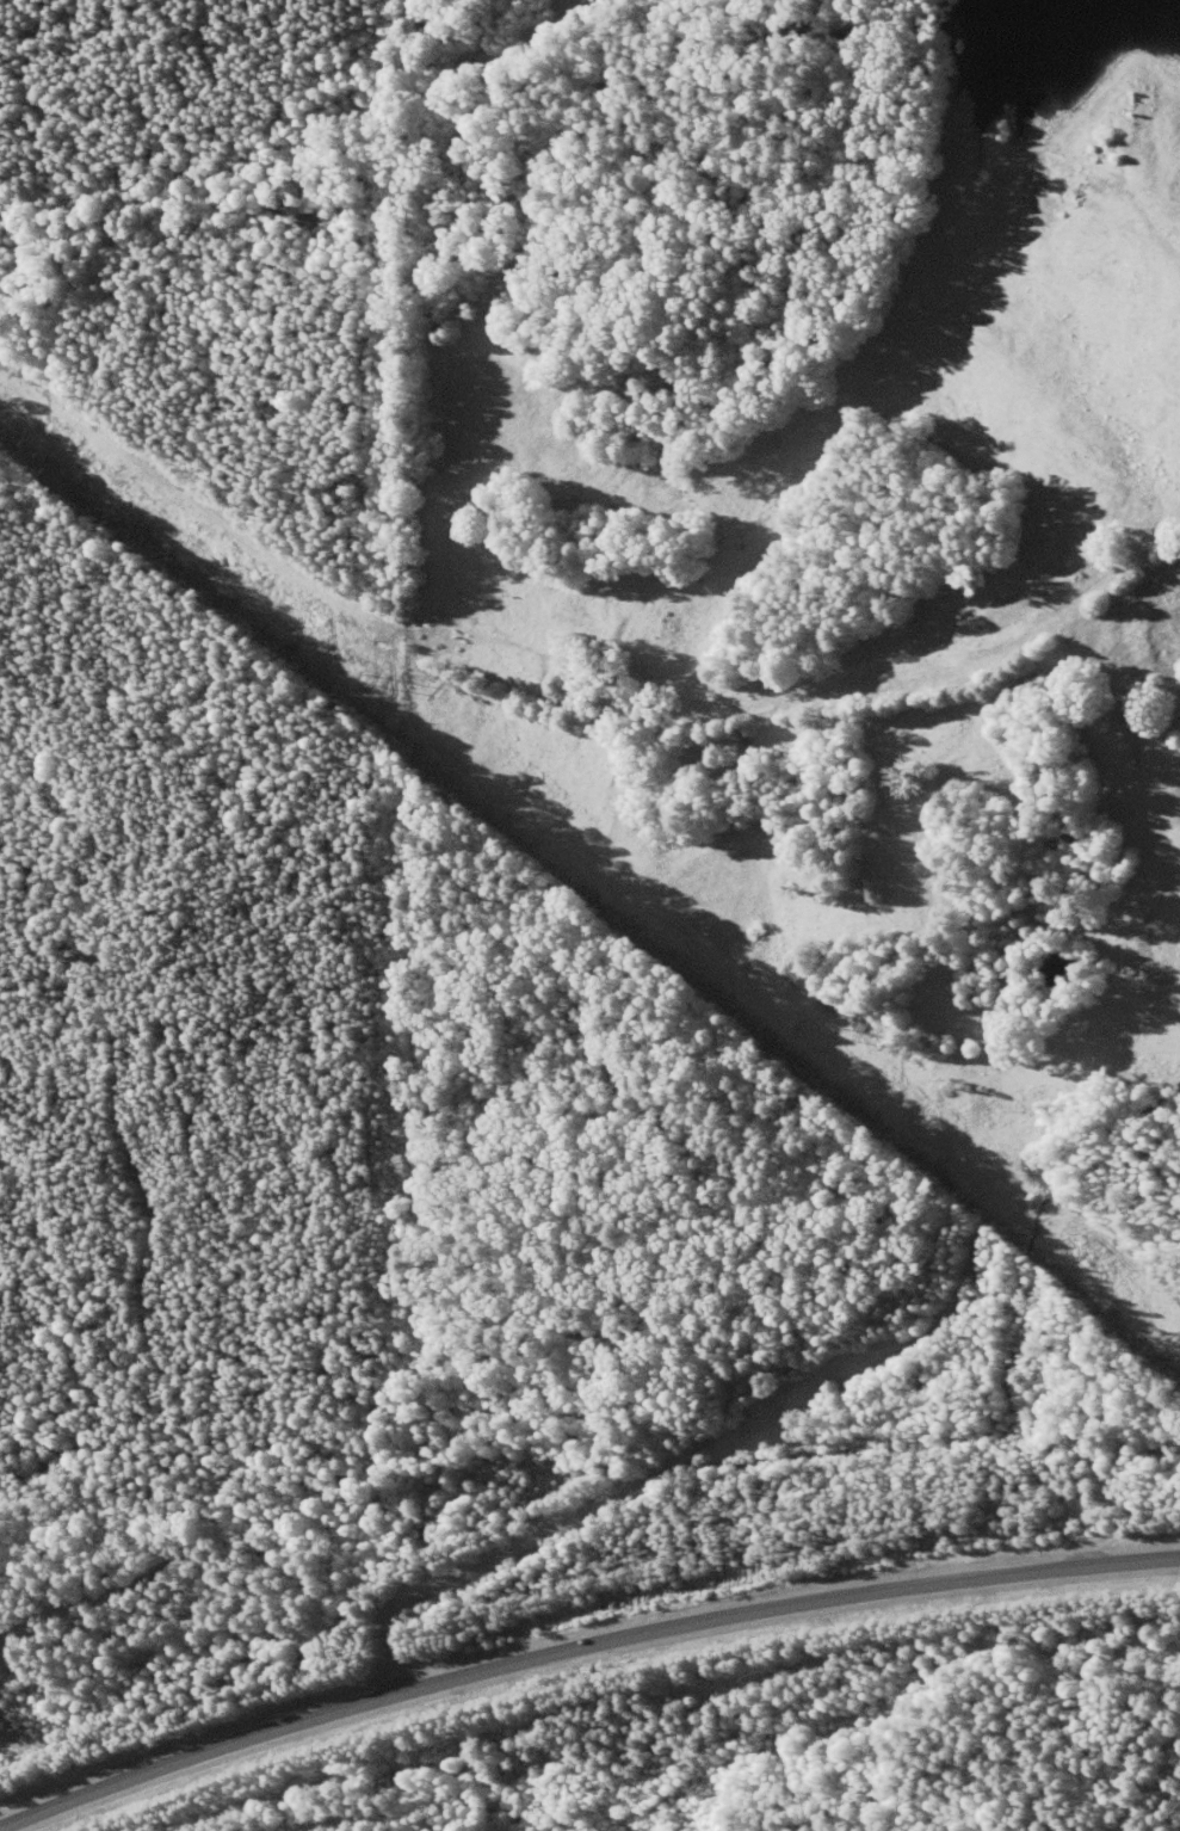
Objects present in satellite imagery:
power tower: (366, 677)
power tower: (796, 1029)
road: (580, 1648)

